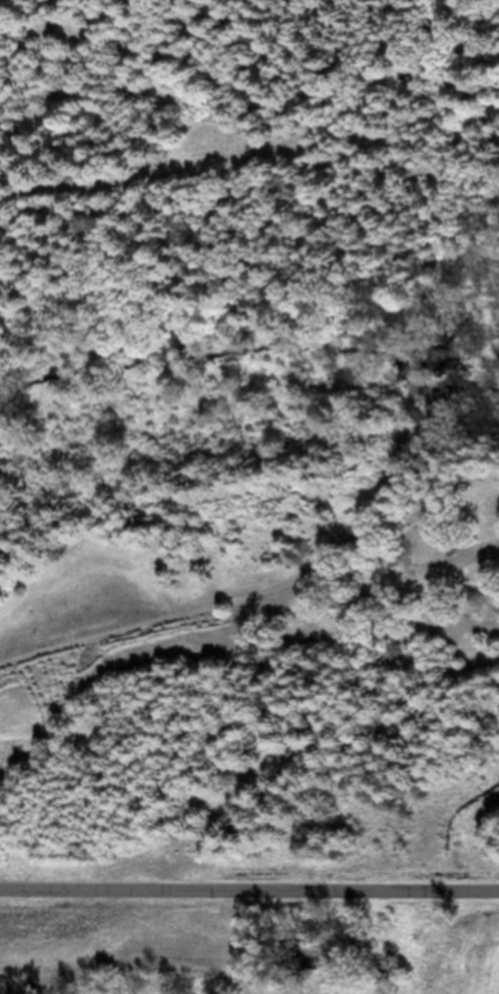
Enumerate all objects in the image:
road: (249, 887)

